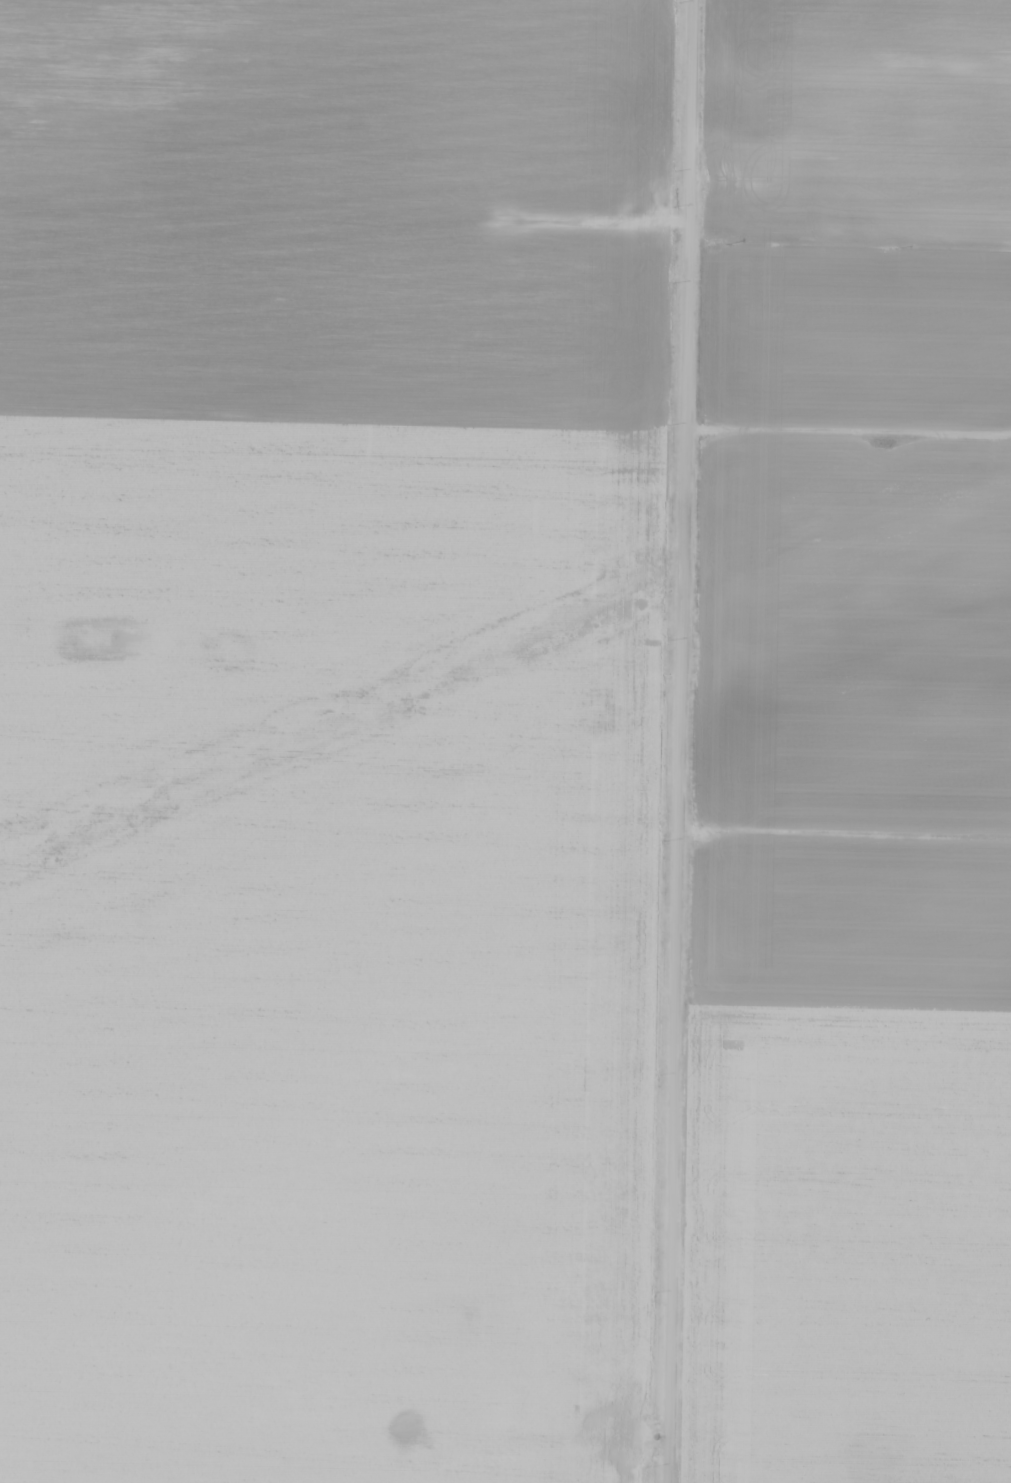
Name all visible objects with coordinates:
road: (849, 431)
road: (681, 741)

